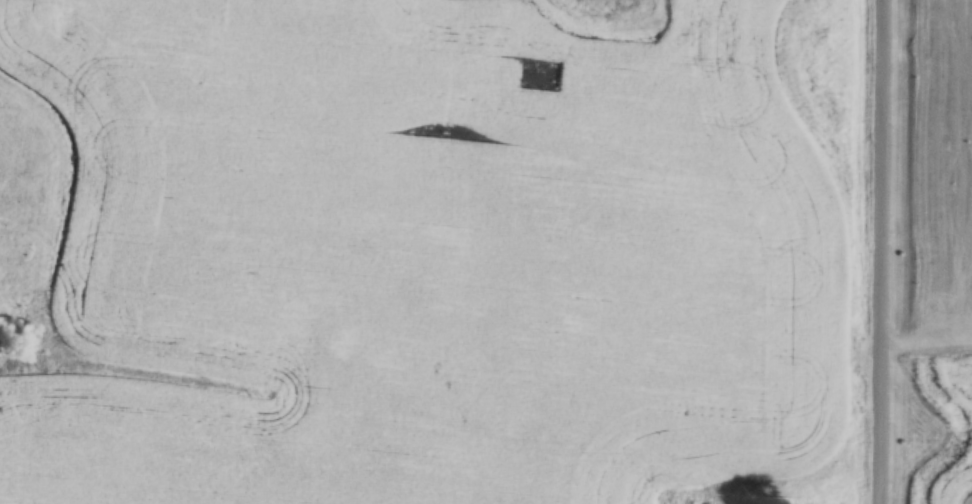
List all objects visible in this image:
road: (883, 252)

